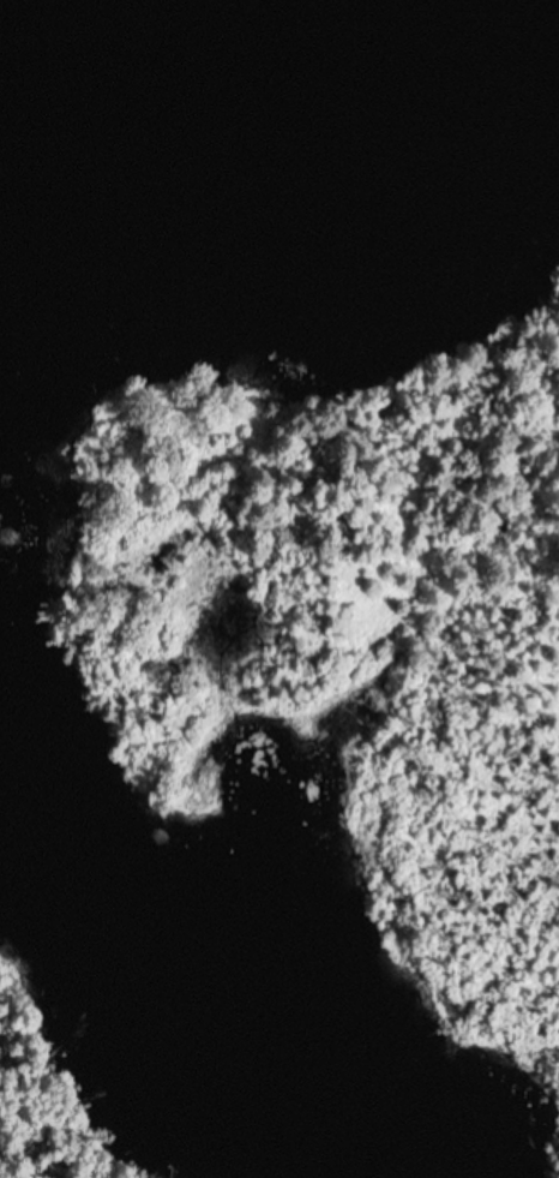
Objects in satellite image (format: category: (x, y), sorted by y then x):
river: (233, 124)

